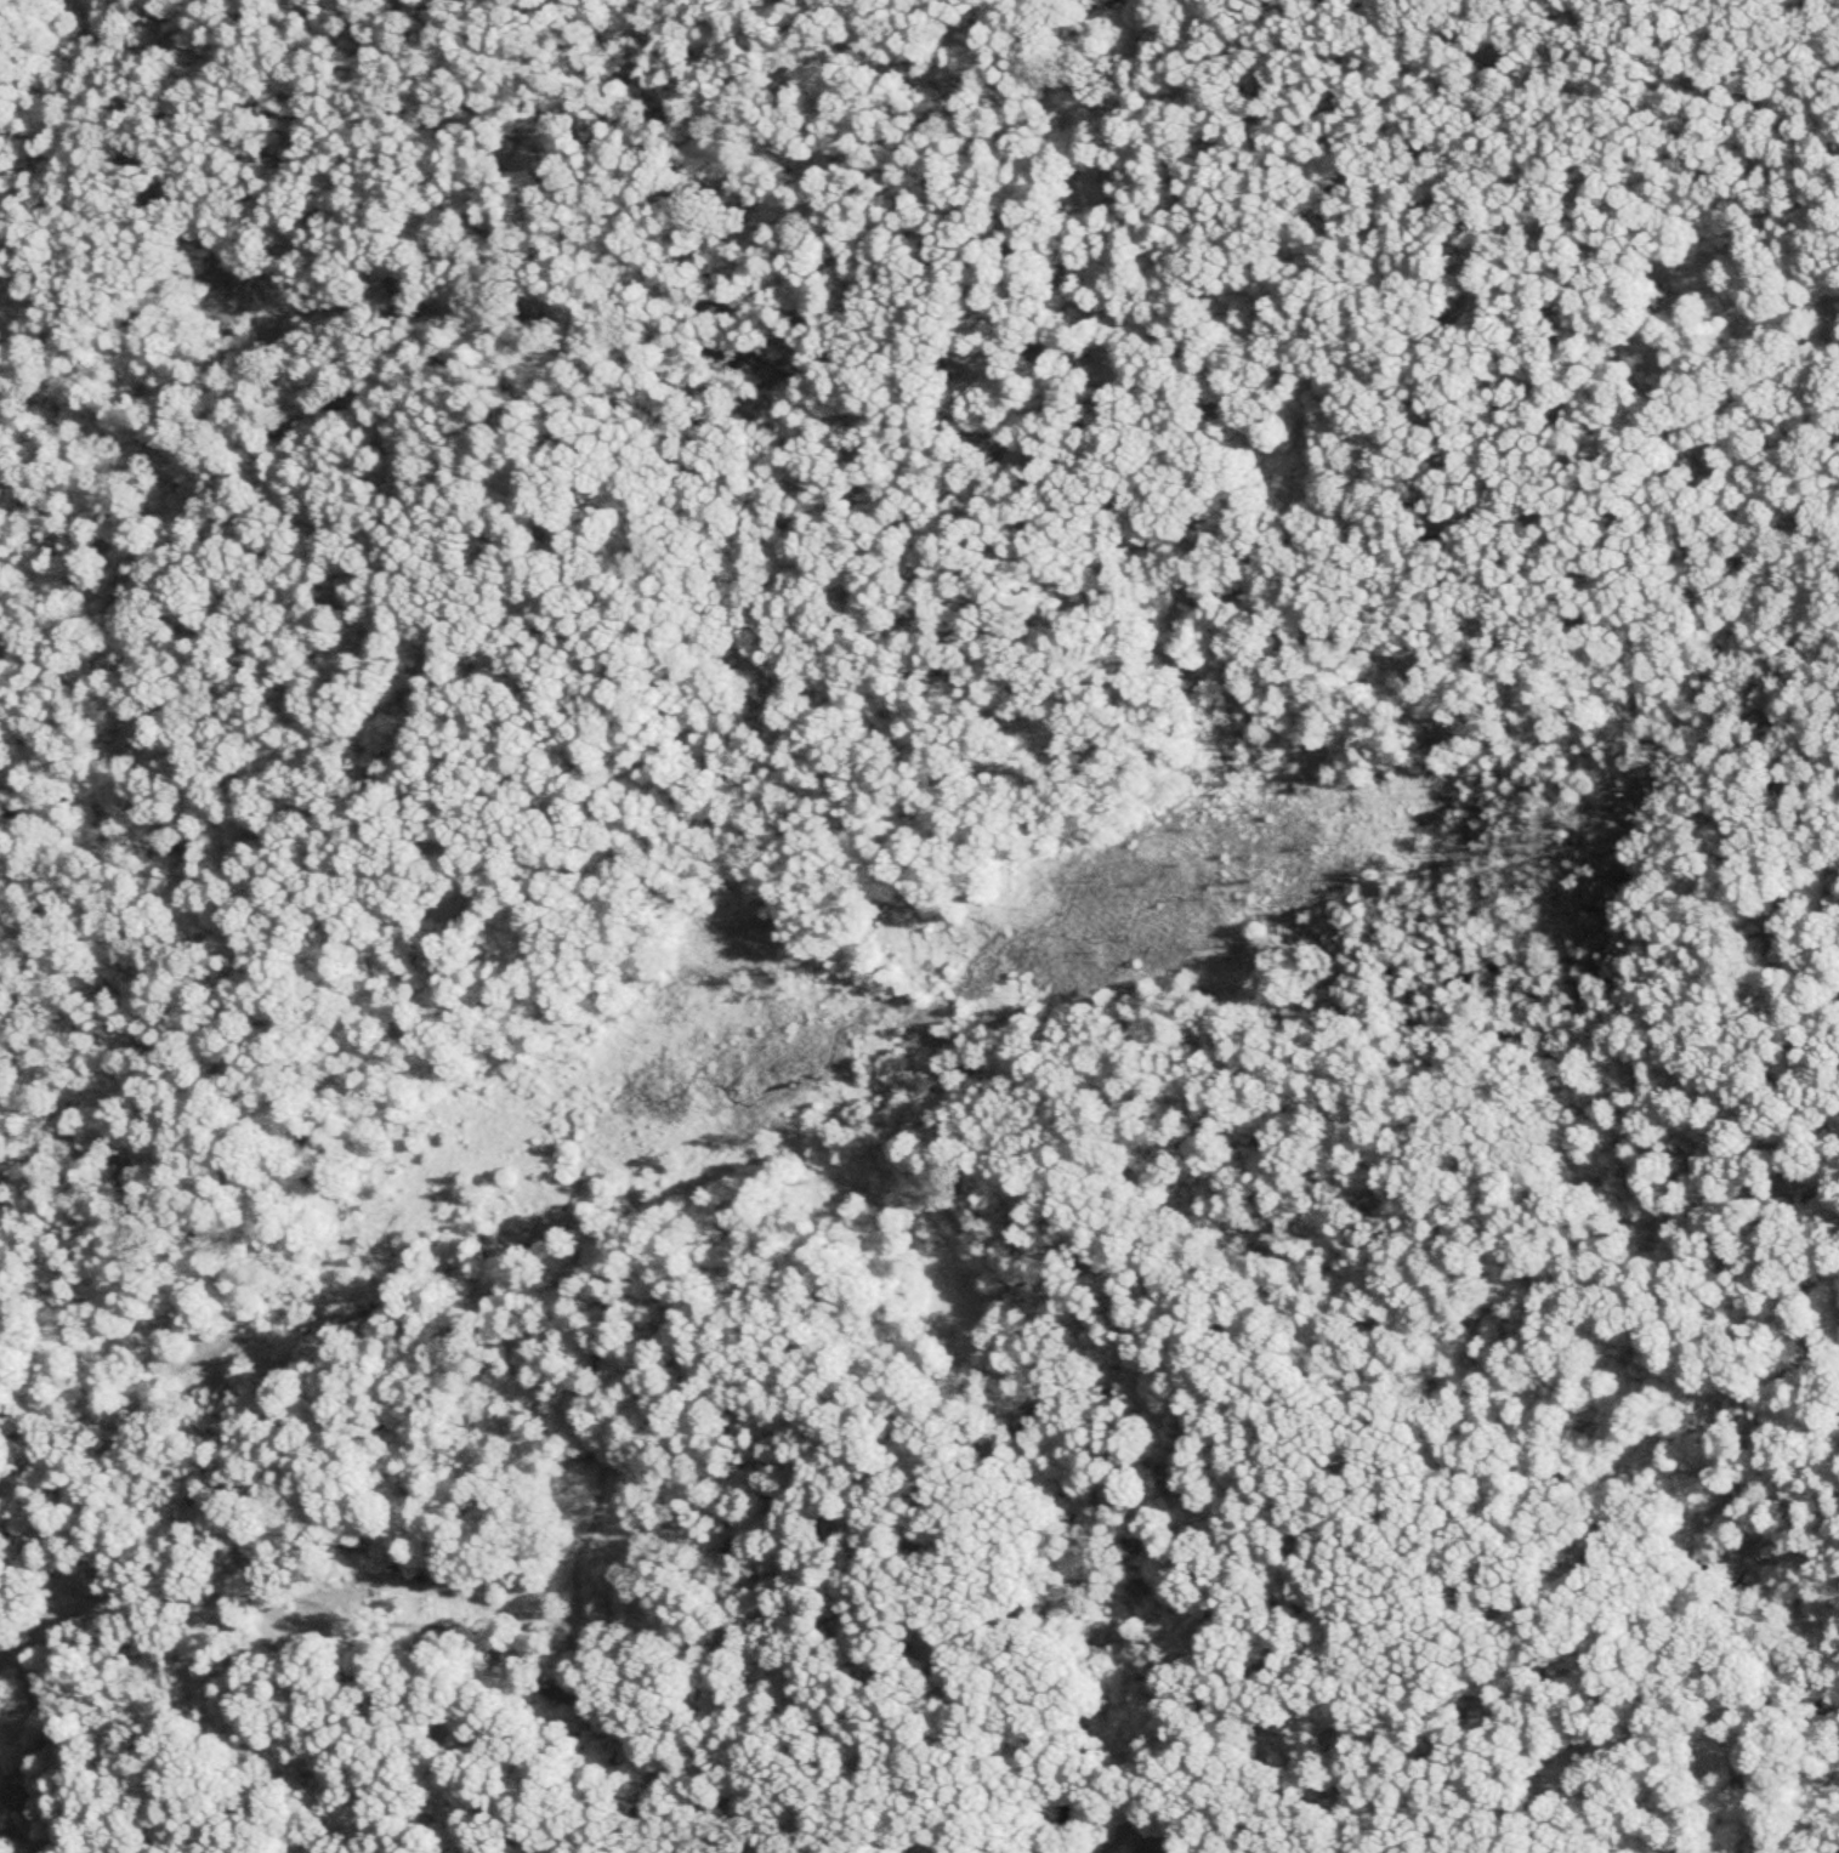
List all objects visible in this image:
road: (370, 1622)
road: (1661, 1682)
road: (40, 1738)
road: (2, 1831)

